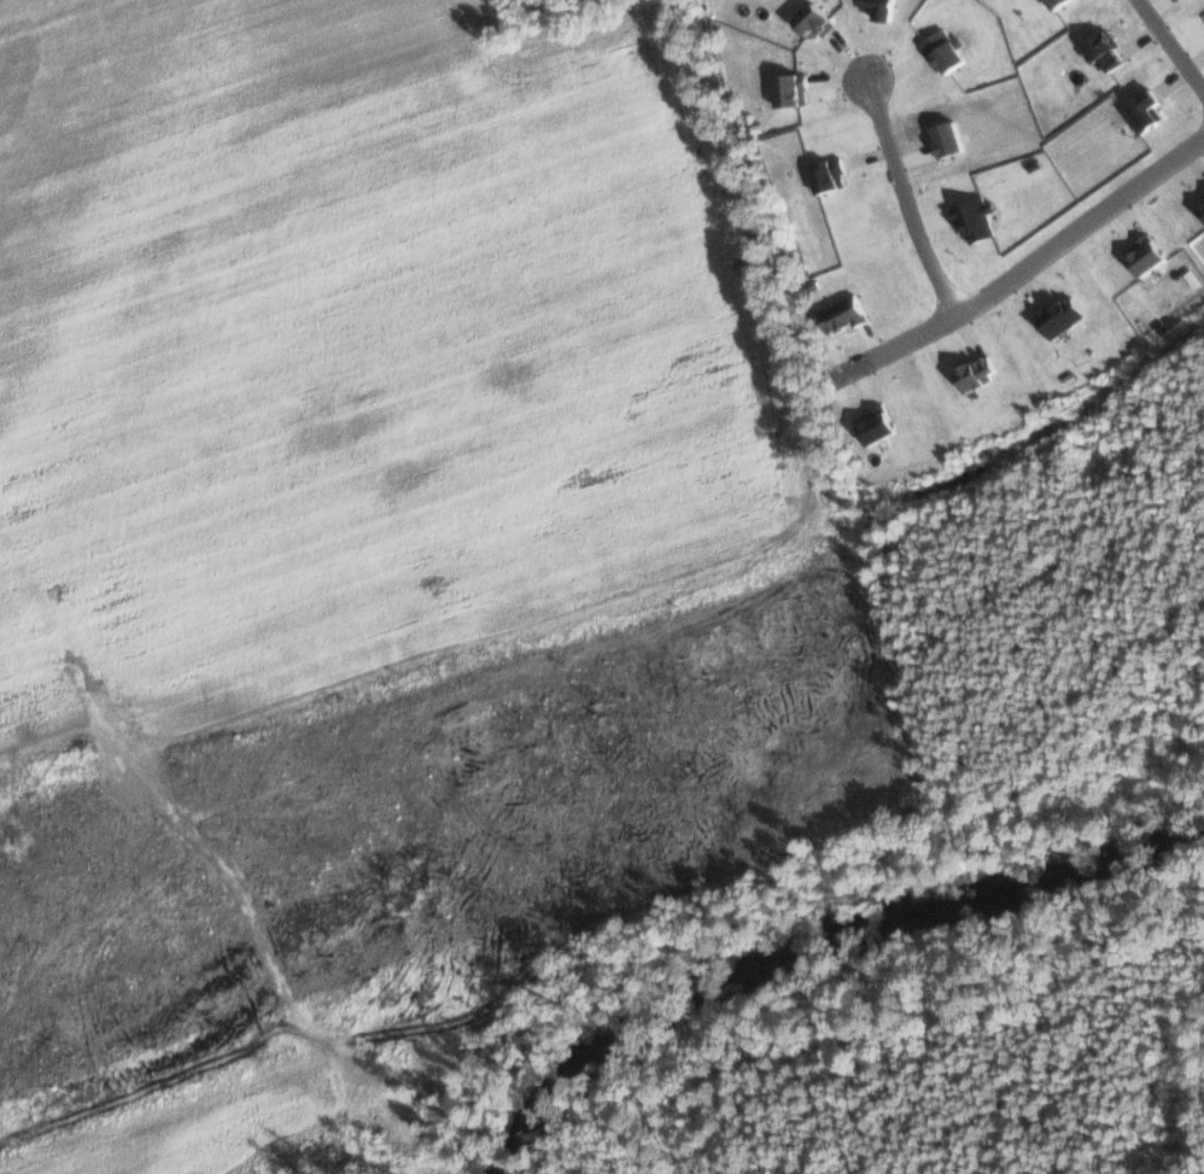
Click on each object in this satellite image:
building: (1060, 2)
building: (884, 7)
building: (819, 19)
road: (1169, 41)
building: (947, 51)
building: (1110, 51)
building: (795, 88)
building: (1147, 110)
building: (831, 174)
road: (899, 192)
building: (1203, 199)
building: (978, 218)
road: (1028, 247)
building: (1151, 255)
building: (1065, 315)
building: (982, 372)
building: (882, 426)
river: (837, 970)

